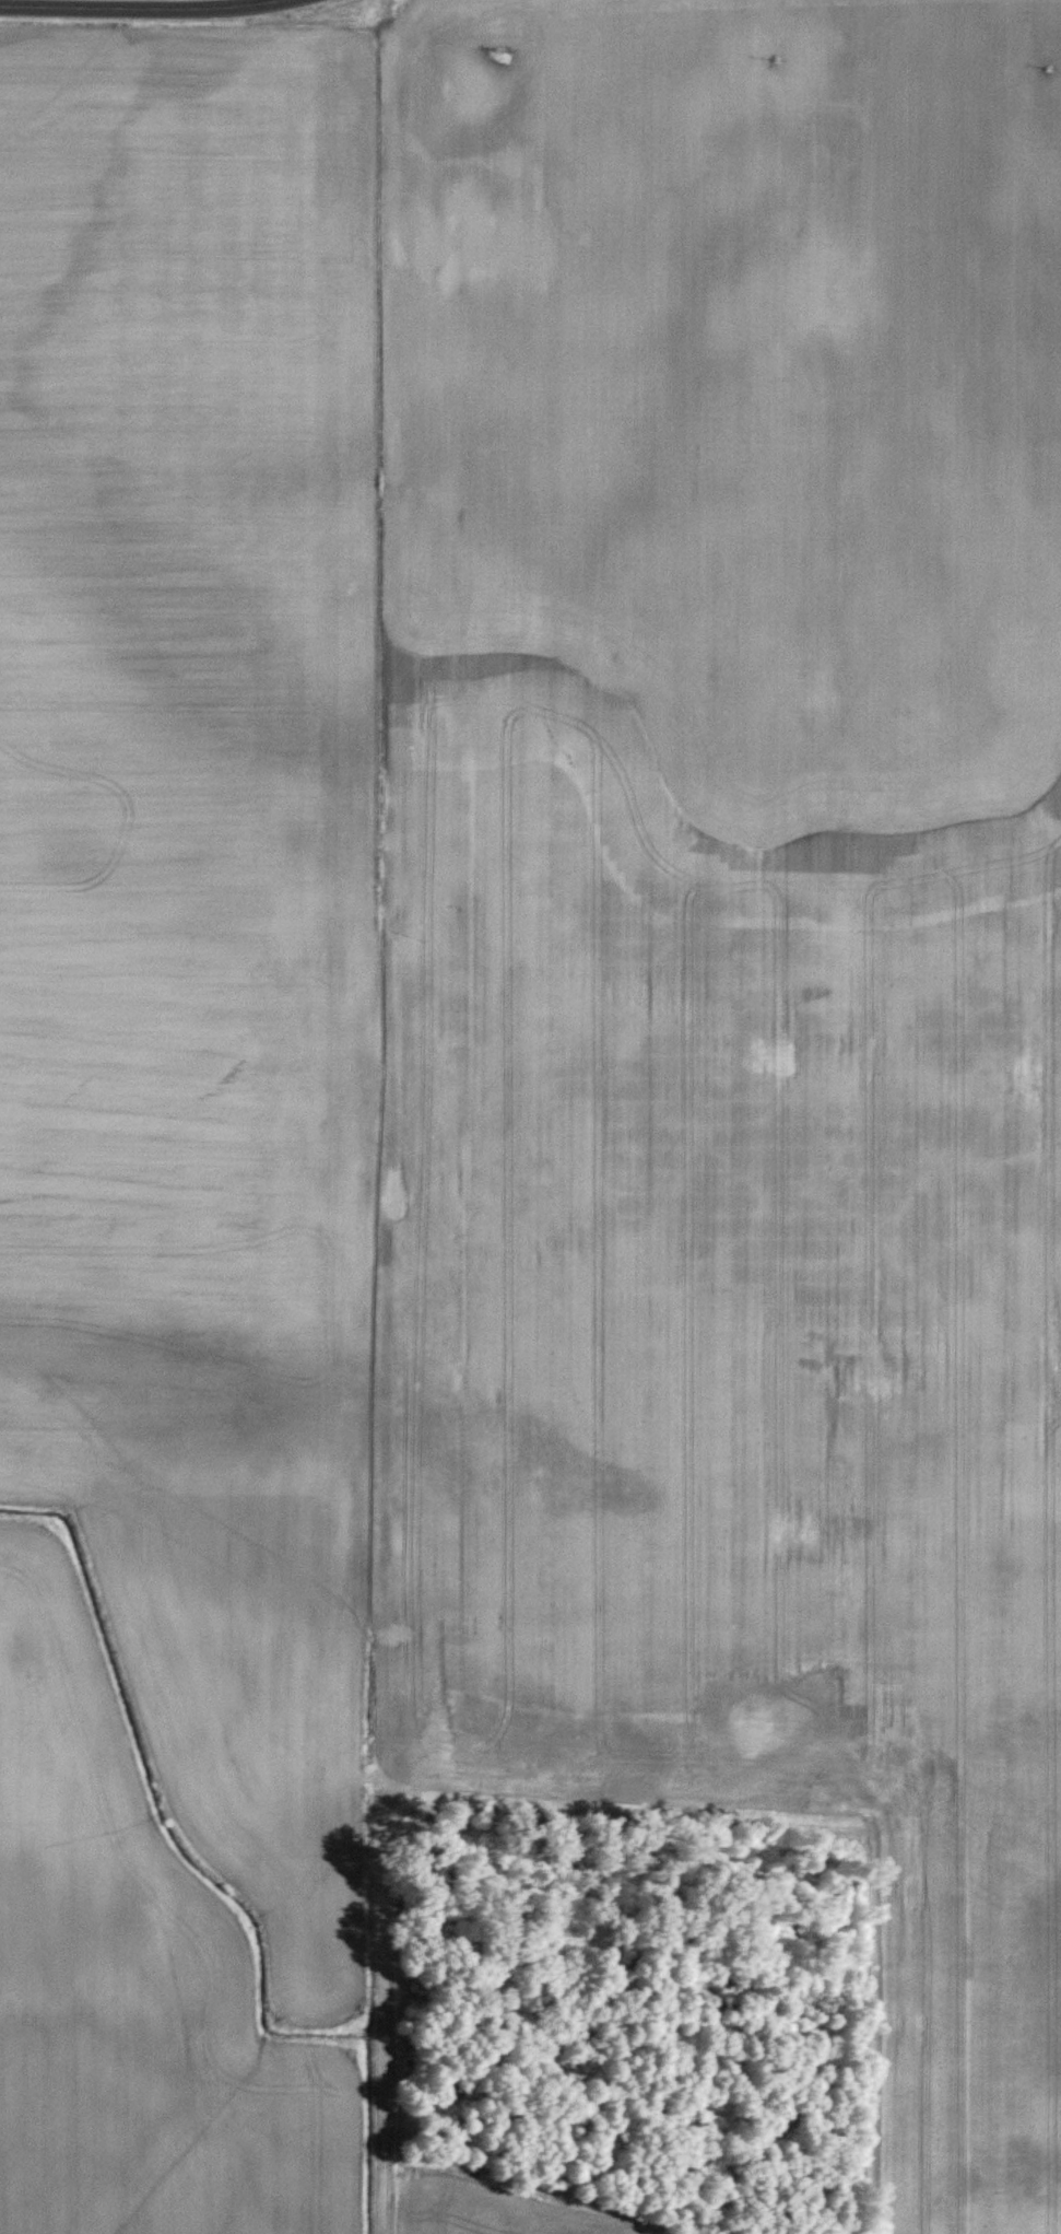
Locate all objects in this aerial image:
road: (140, 7)
road: (392, 1116)

